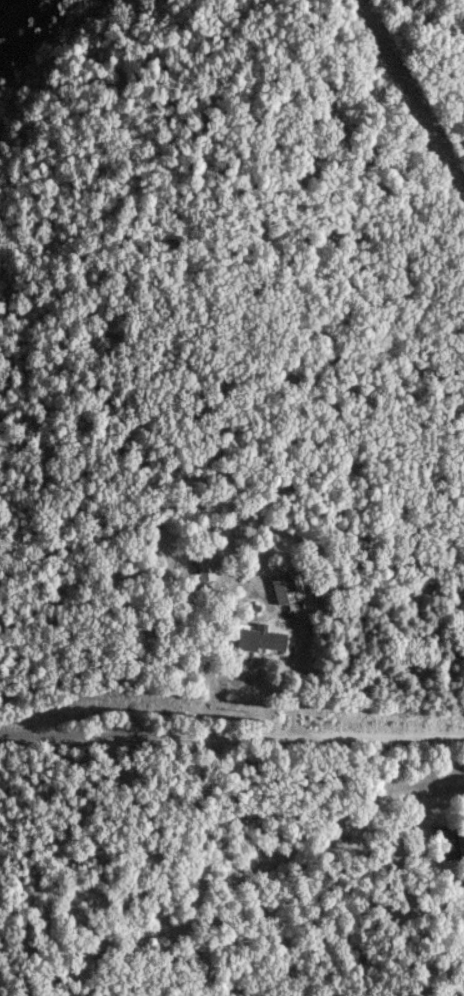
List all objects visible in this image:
building: (202, 575)
building: (277, 588)
building: (252, 638)
road: (231, 733)
building: (461, 891)

